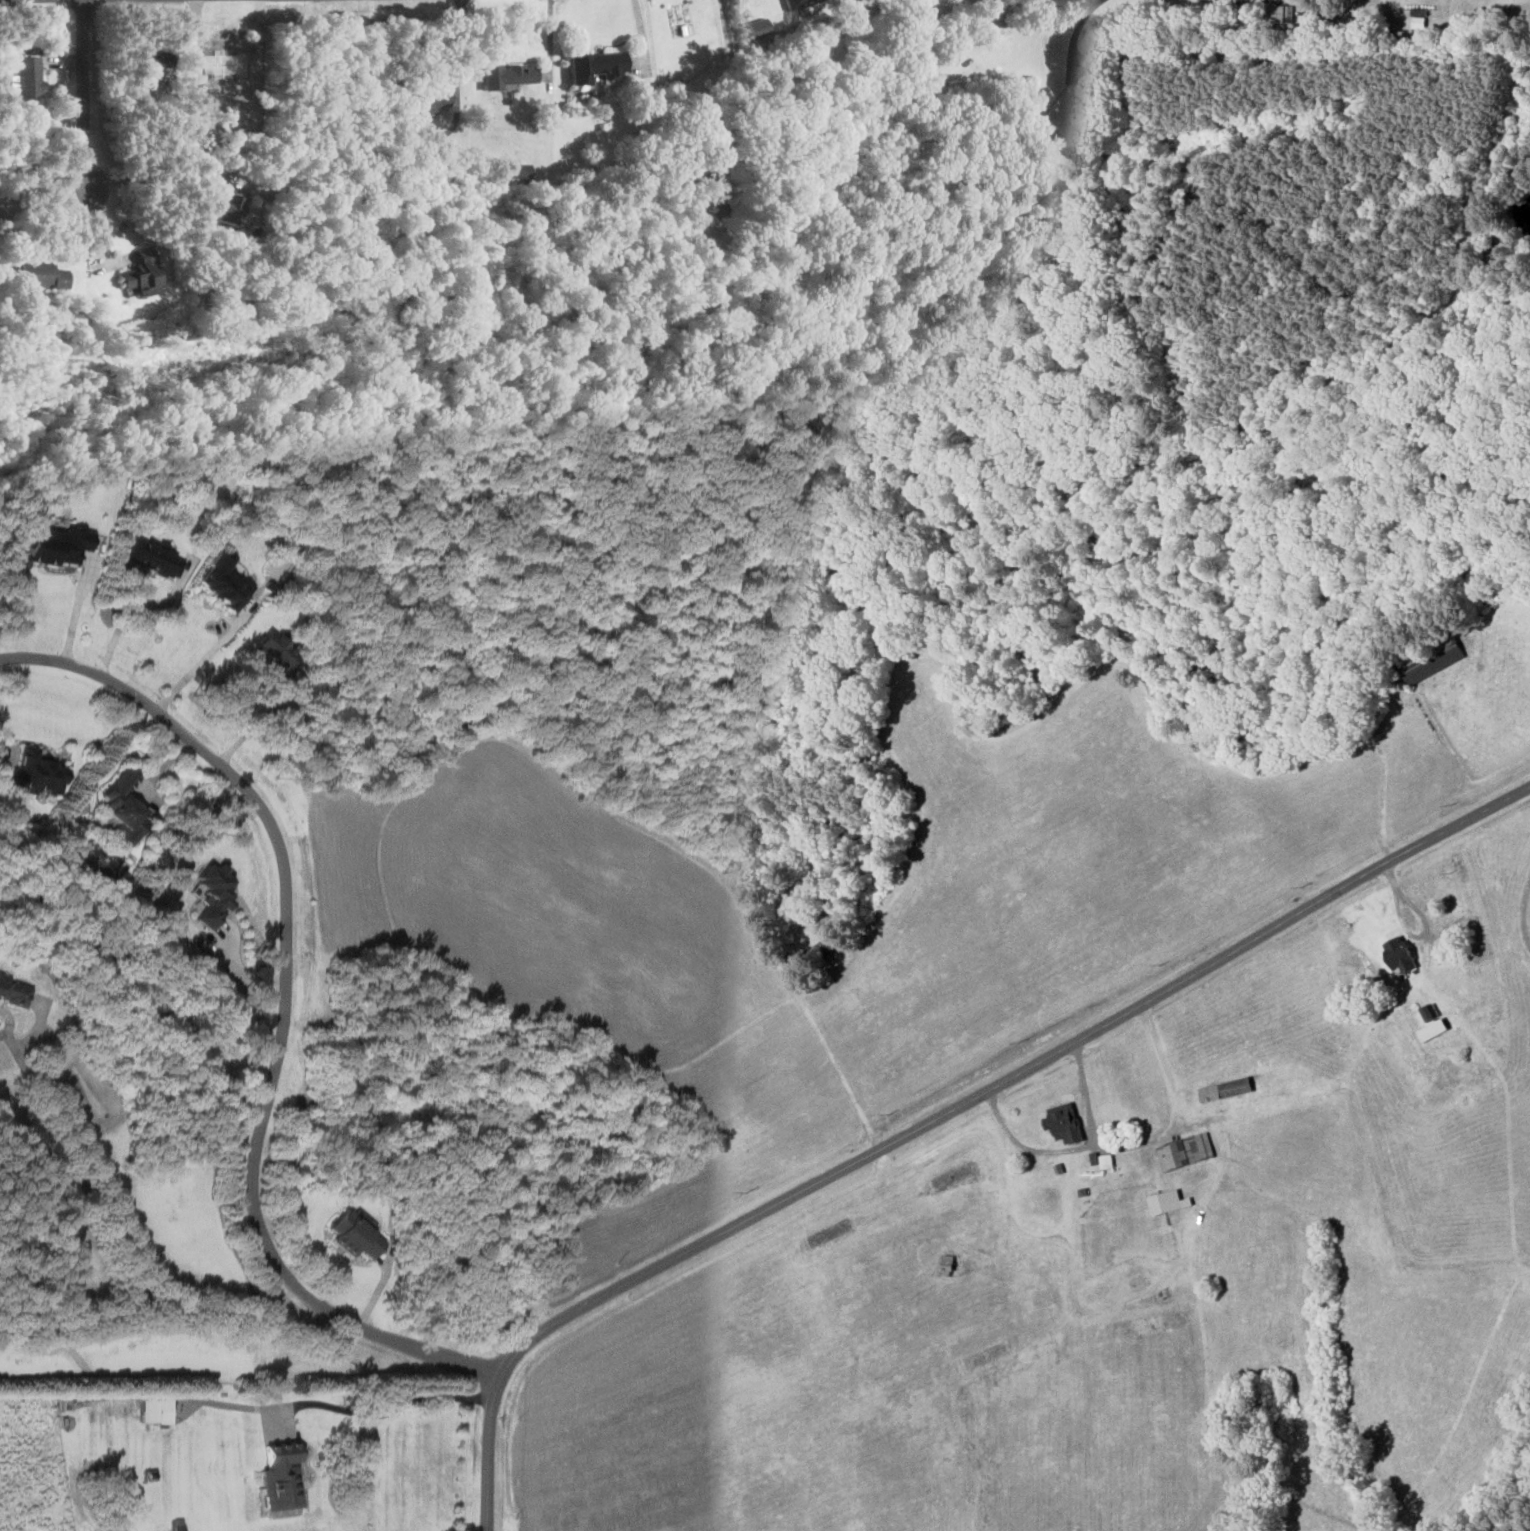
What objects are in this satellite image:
building: (795, 3)
building: (1283, 15)
road: (1077, 25)
building: (758, 26)
road: (641, 31)
road: (551, 37)
building: (596, 64)
building: (152, 65)
building: (510, 74)
building: (28, 76)
road: (736, 88)
road: (83, 92)
building: (433, 96)
building: (1035, 122)
road: (42, 164)
building: (521, 169)
road: (164, 170)
building: (228, 205)
building: (141, 272)
building: (42, 275)
building: (56, 544)
building: (153, 559)
building: (224, 582)
road: (78, 603)
road: (133, 603)
building: (275, 650)
building: (1431, 659)
road: (193, 673)
road: (4, 760)
road: (158, 771)
building: (38, 773)
building: (125, 806)
building: (213, 895)
road: (1426, 923)
building: (818, 952)
building: (1400, 955)
building: (14, 991)
road: (285, 1007)
building: (1434, 1029)
building: (1226, 1089)
road: (942, 1115)
building: (1065, 1123)
road: (1146, 1145)
road: (1025, 1147)
building: (1186, 1151)
building: (1168, 1201)
building: (357, 1234)
building: (948, 1262)
building: (157, 1410)
road: (386, 1414)
building: (283, 1477)

